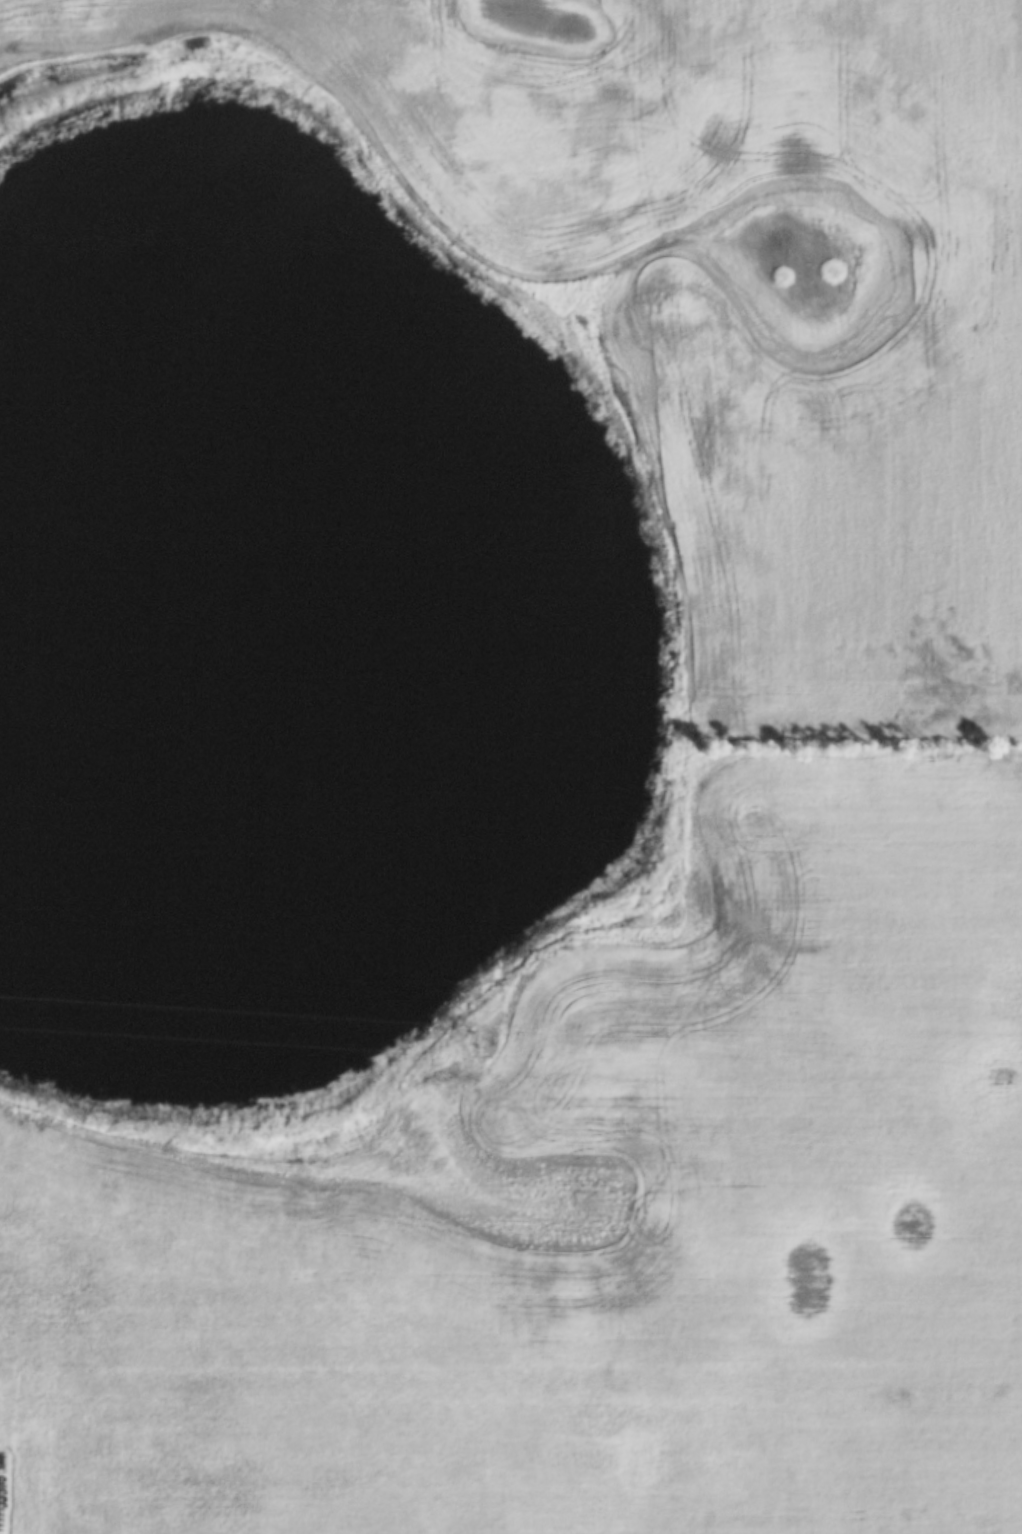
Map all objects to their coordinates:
power tower: (477, 1041)

